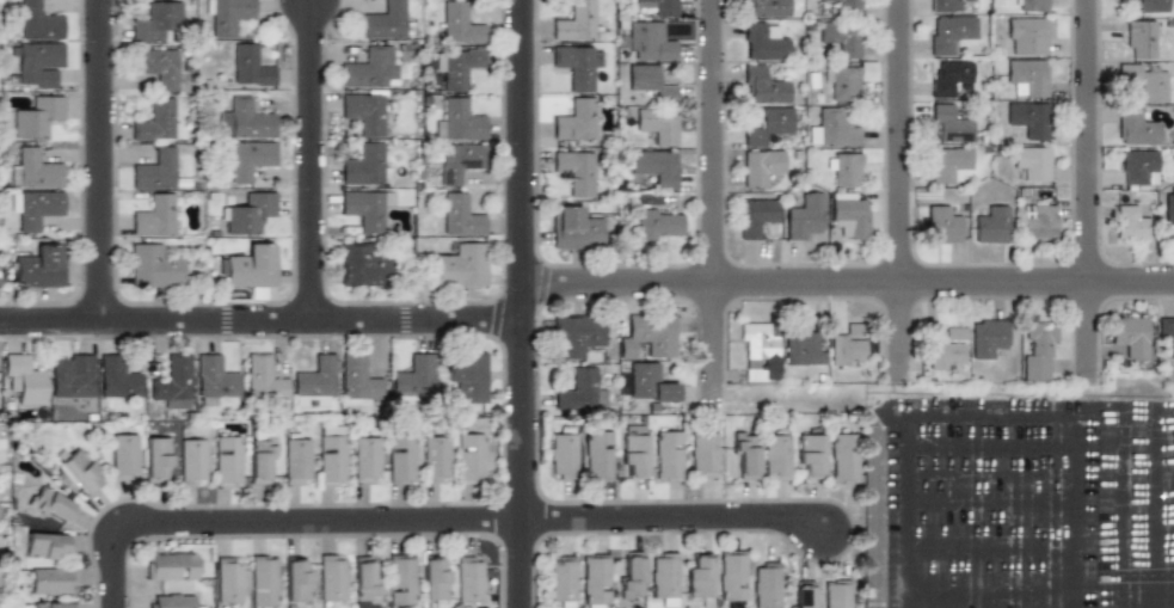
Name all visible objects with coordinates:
building: (844, 6)
building: (946, 6)
building: (1031, 6)
building: (1148, 6)
building: (660, 7)
building: (766, 7)
building: (227, 16)
building: (38, 20)
building: (155, 22)
building: (386, 22)
building: (574, 22)
building: (459, 23)
building: (949, 33)
building: (1025, 36)
building: (841, 37)
building: (1139, 38)
building: (650, 41)
building: (763, 41)
building: (38, 63)
building: (573, 63)
building: (156, 66)
building: (248, 66)
building: (456, 66)
building: (370, 68)
building: (949, 76)
building: (1027, 76)
building: (1145, 79)
building: (650, 80)
building: (842, 81)
building: (763, 86)
building: (363, 112)
building: (37, 118)
building: (1027, 118)
building: (156, 119)
building: (459, 119)
building: (247, 121)
building: (573, 122)
building: (656, 124)
building: (767, 124)
building: (949, 124)
building: (1136, 127)
building: (831, 128)
building: (250, 159)
road: (100, 160)
road: (312, 161)
building: (457, 161)
building: (1032, 161)
building: (363, 164)
building: (948, 164)
building: (656, 166)
building: (1137, 166)
building: (761, 167)
building: (35, 170)
building: (154, 170)
building: (847, 170)
building: (576, 171)
road: (901, 191)
road: (1088, 192)
road: (713, 205)
building: (35, 207)
building: (362, 209)
building: (1168, 211)
building: (250, 213)
building: (459, 214)
building: (848, 214)
building: (804, 215)
building: (153, 216)
building: (756, 216)
building: (1039, 221)
building: (1131, 221)
building: (659, 222)
building: (942, 223)
building: (991, 223)
building: (574, 228)
building: (363, 265)
building: (460, 265)
building: (41, 266)
building: (154, 266)
building: (250, 266)
road: (848, 282)
road: (523, 303)
road: (262, 321)
building: (647, 333)
building: (577, 334)
building: (986, 337)
building: (1127, 337)
building: (1164, 338)
building: (804, 348)
building: (847, 348)
building: (1037, 349)
building: (947, 350)
building: (757, 351)
building: (72, 375)
building: (467, 375)
building: (24, 376)
building: (117, 376)
building: (214, 376)
building: (412, 376)
building: (263, 377)
building: (357, 380)
building: (173, 381)
building: (313, 382)
building: (646, 382)
building: (579, 389)
road: (926, 412)
building: (563, 452)
building: (633, 452)
building: (668, 454)
building: (703, 454)
building: (744, 454)
building: (775, 454)
building: (597, 455)
building: (809, 455)
building: (123, 456)
building: (260, 456)
building: (331, 456)
building: (844, 456)
building: (156, 457)
building: (296, 459)
building: (365, 459)
building: (400, 459)
building: (435, 459)
building: (471, 459)
building: (192, 460)
building: (227, 461)
building: (80, 471)
building: (51, 504)
road: (903, 510)
road: (934, 510)
road: (971, 510)
road: (1013, 510)
road: (1052, 510)
road: (1092, 510)
road: (1131, 510)
road: (1172, 510)
road: (675, 517)
road: (279, 522)
building: (47, 546)
building: (171, 566)
building: (629, 575)
building: (663, 576)
building: (697, 576)
building: (731, 576)
building: (332, 577)
building: (434, 578)
building: (468, 578)
building: (51, 579)
building: (228, 581)
building: (296, 581)
building: (560, 581)
building: (595, 581)
building: (263, 582)
building: (364, 582)
building: (400, 582)
building: (766, 584)
building: (801, 594)
building: (836, 595)
building: (171, 601)
building: (53, 604)

